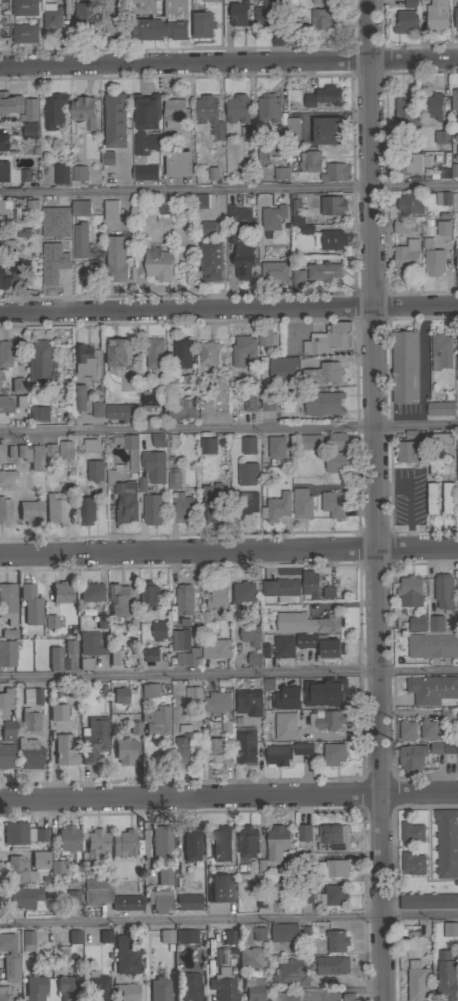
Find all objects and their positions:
building: (209, 0)
building: (322, 2)
building: (410, 3)
building: (25, 7)
building: (144, 7)
building: (238, 13)
building: (85, 14)
building: (264, 14)
building: (112, 15)
building: (52, 17)
building: (436, 18)
building: (456, 18)
building: (323, 19)
building: (405, 21)
building: (164, 23)
building: (203, 25)
building: (25, 33)
road: (229, 63)
building: (323, 96)
building: (454, 101)
building: (9, 104)
building: (433, 106)
building: (268, 108)
building: (237, 109)
building: (27, 110)
building: (54, 110)
building: (84, 111)
building: (175, 113)
building: (406, 114)
building: (209, 115)
building: (116, 120)
building: (146, 122)
building: (292, 129)
building: (30, 131)
building: (327, 131)
building: (247, 132)
building: (456, 135)
building: (441, 137)
building: (4, 142)
building: (406, 143)
building: (456, 155)
building: (107, 158)
building: (259, 158)
building: (310, 161)
building: (412, 163)
building: (178, 164)
building: (4, 171)
building: (453, 171)
building: (336, 172)
building: (145, 173)
building: (212, 173)
building: (280, 173)
building: (61, 174)
building: (76, 174)
building: (24, 176)
road: (229, 191)
building: (443, 198)
building: (201, 201)
building: (409, 204)
building: (332, 205)
building: (31, 206)
building: (296, 206)
building: (4, 207)
building: (47, 208)
building: (81, 208)
building: (163, 209)
building: (111, 210)
building: (273, 217)
building: (302, 225)
building: (403, 226)
building: (209, 227)
building: (438, 227)
building: (19, 234)
building: (333, 240)
building: (231, 241)
building: (80, 242)
building: (7, 249)
building: (406, 256)
building: (456, 257)
building: (117, 258)
building: (432, 258)
building: (57, 260)
building: (211, 261)
building: (160, 263)
building: (19, 265)
building: (274, 270)
building: (328, 271)
building: (89, 274)
building: (299, 276)
building: (4, 278)
road: (229, 308)
building: (266, 336)
building: (328, 339)
building: (457, 348)
building: (243, 350)
building: (442, 350)
building: (155, 353)
building: (182, 353)
building: (209, 353)
building: (6, 354)
building: (119, 355)
building: (85, 358)
building: (41, 362)
road: (424, 365)
building: (404, 367)
building: (283, 370)
building: (1, 373)
building: (322, 374)
building: (455, 376)
building: (17, 385)
building: (149, 401)
building: (267, 402)
building: (80, 403)
building: (205, 403)
building: (250, 403)
building: (323, 403)
building: (5, 404)
building: (441, 408)
building: (98, 409)
building: (182, 410)
building: (121, 412)
building: (39, 413)
road: (229, 429)
building: (439, 439)
building: (338, 440)
building: (155, 441)
building: (310, 442)
building: (248, 445)
building: (90, 446)
building: (207, 446)
building: (276, 447)
building: (66, 448)
building: (129, 449)
building: (2, 451)
building: (50, 451)
building: (406, 452)
building: (29, 455)
building: (336, 462)
building: (457, 462)
building: (439, 467)
building: (151, 468)
building: (95, 471)
building: (247, 474)
building: (11, 478)
building: (173, 480)
building: (142, 484)
building: (432, 498)
building: (448, 498)
building: (456, 499)
road: (376, 500)
building: (244, 501)
building: (126, 502)
building: (212, 503)
building: (302, 504)
building: (331, 504)
building: (277, 507)
building: (183, 508)
building: (4, 509)
building: (56, 509)
building: (153, 509)
building: (86, 510)
building: (29, 511)
road: (229, 552)
building: (310, 585)
road: (174, 586)
building: (281, 588)
building: (443, 590)
building: (243, 591)
building: (410, 591)
building: (61, 592)
building: (91, 592)
building: (329, 592)
building: (149, 593)
building: (219, 597)
building: (119, 600)
building: (184, 600)
building: (8, 601)
building: (30, 604)
building: (457, 611)
building: (50, 621)
building: (101, 621)
building: (206, 621)
building: (307, 623)
building: (436, 623)
building: (416, 624)
building: (159, 630)
building: (9, 633)
building: (250, 634)
building: (180, 639)
building: (91, 643)
building: (307, 645)
building: (433, 645)
building: (70, 646)
building: (215, 648)
building: (264, 651)
building: (7, 653)
building: (151, 654)
building: (117, 656)
building: (188, 657)
building: (303, 657)
building: (253, 658)
building: (57, 659)
building: (85, 663)
road: (228, 673)
building: (268, 684)
building: (432, 689)
building: (150, 690)
building: (326, 692)
building: (192, 693)
building: (119, 694)
building: (32, 696)
building: (286, 698)
building: (5, 701)
building: (248, 702)
building: (217, 703)
building: (58, 712)
building: (447, 715)
building: (30, 719)
building: (327, 719)
building: (158, 722)
building: (226, 726)
building: (286, 726)
building: (135, 727)
building: (407, 729)
building: (428, 729)
building: (7, 730)
building: (93, 738)
building: (184, 746)
building: (245, 746)
building: (214, 749)
building: (64, 750)
building: (124, 750)
building: (422, 752)
building: (30, 754)
building: (287, 754)
building: (334, 754)
building: (6, 756)
building: (457, 759)
road: (228, 795)
building: (411, 831)
building: (304, 832)
building: (22, 833)
building: (68, 838)
building: (332, 838)
building: (247, 841)
building: (222, 842)
building: (276, 842)
building: (123, 843)
building: (161, 843)
building: (446, 843)
building: (96, 844)
building: (191, 844)
building: (39, 859)
building: (412, 863)
building: (57, 866)
building: (332, 868)
building: (18, 869)
building: (164, 874)
building: (276, 890)
building: (96, 891)
building: (335, 895)
building: (22, 896)
building: (72, 896)
building: (307, 896)
building: (159, 900)
building: (188, 901)
building: (212, 901)
building: (428, 901)
building: (126, 902)
road: (229, 919)
building: (450, 929)
building: (285, 932)
building: (304, 932)
building: (259, 934)
building: (166, 935)
building: (74, 936)
building: (105, 936)
building: (185, 936)
building: (229, 936)
building: (27, 940)
building: (336, 940)
building: (125, 955)
building: (9, 957)
building: (249, 957)
building: (330, 965)
building: (292, 972)
building: (446, 976)
building: (416, 982)
building: (222, 984)
building: (97, 986)
building: (189, 986)
building: (67, 987)
building: (35, 988)
building: (160, 989)
building: (253, 989)
building: (127, 991)
building: (4, 993)
building: (287, 997)
building: (350, 997)

